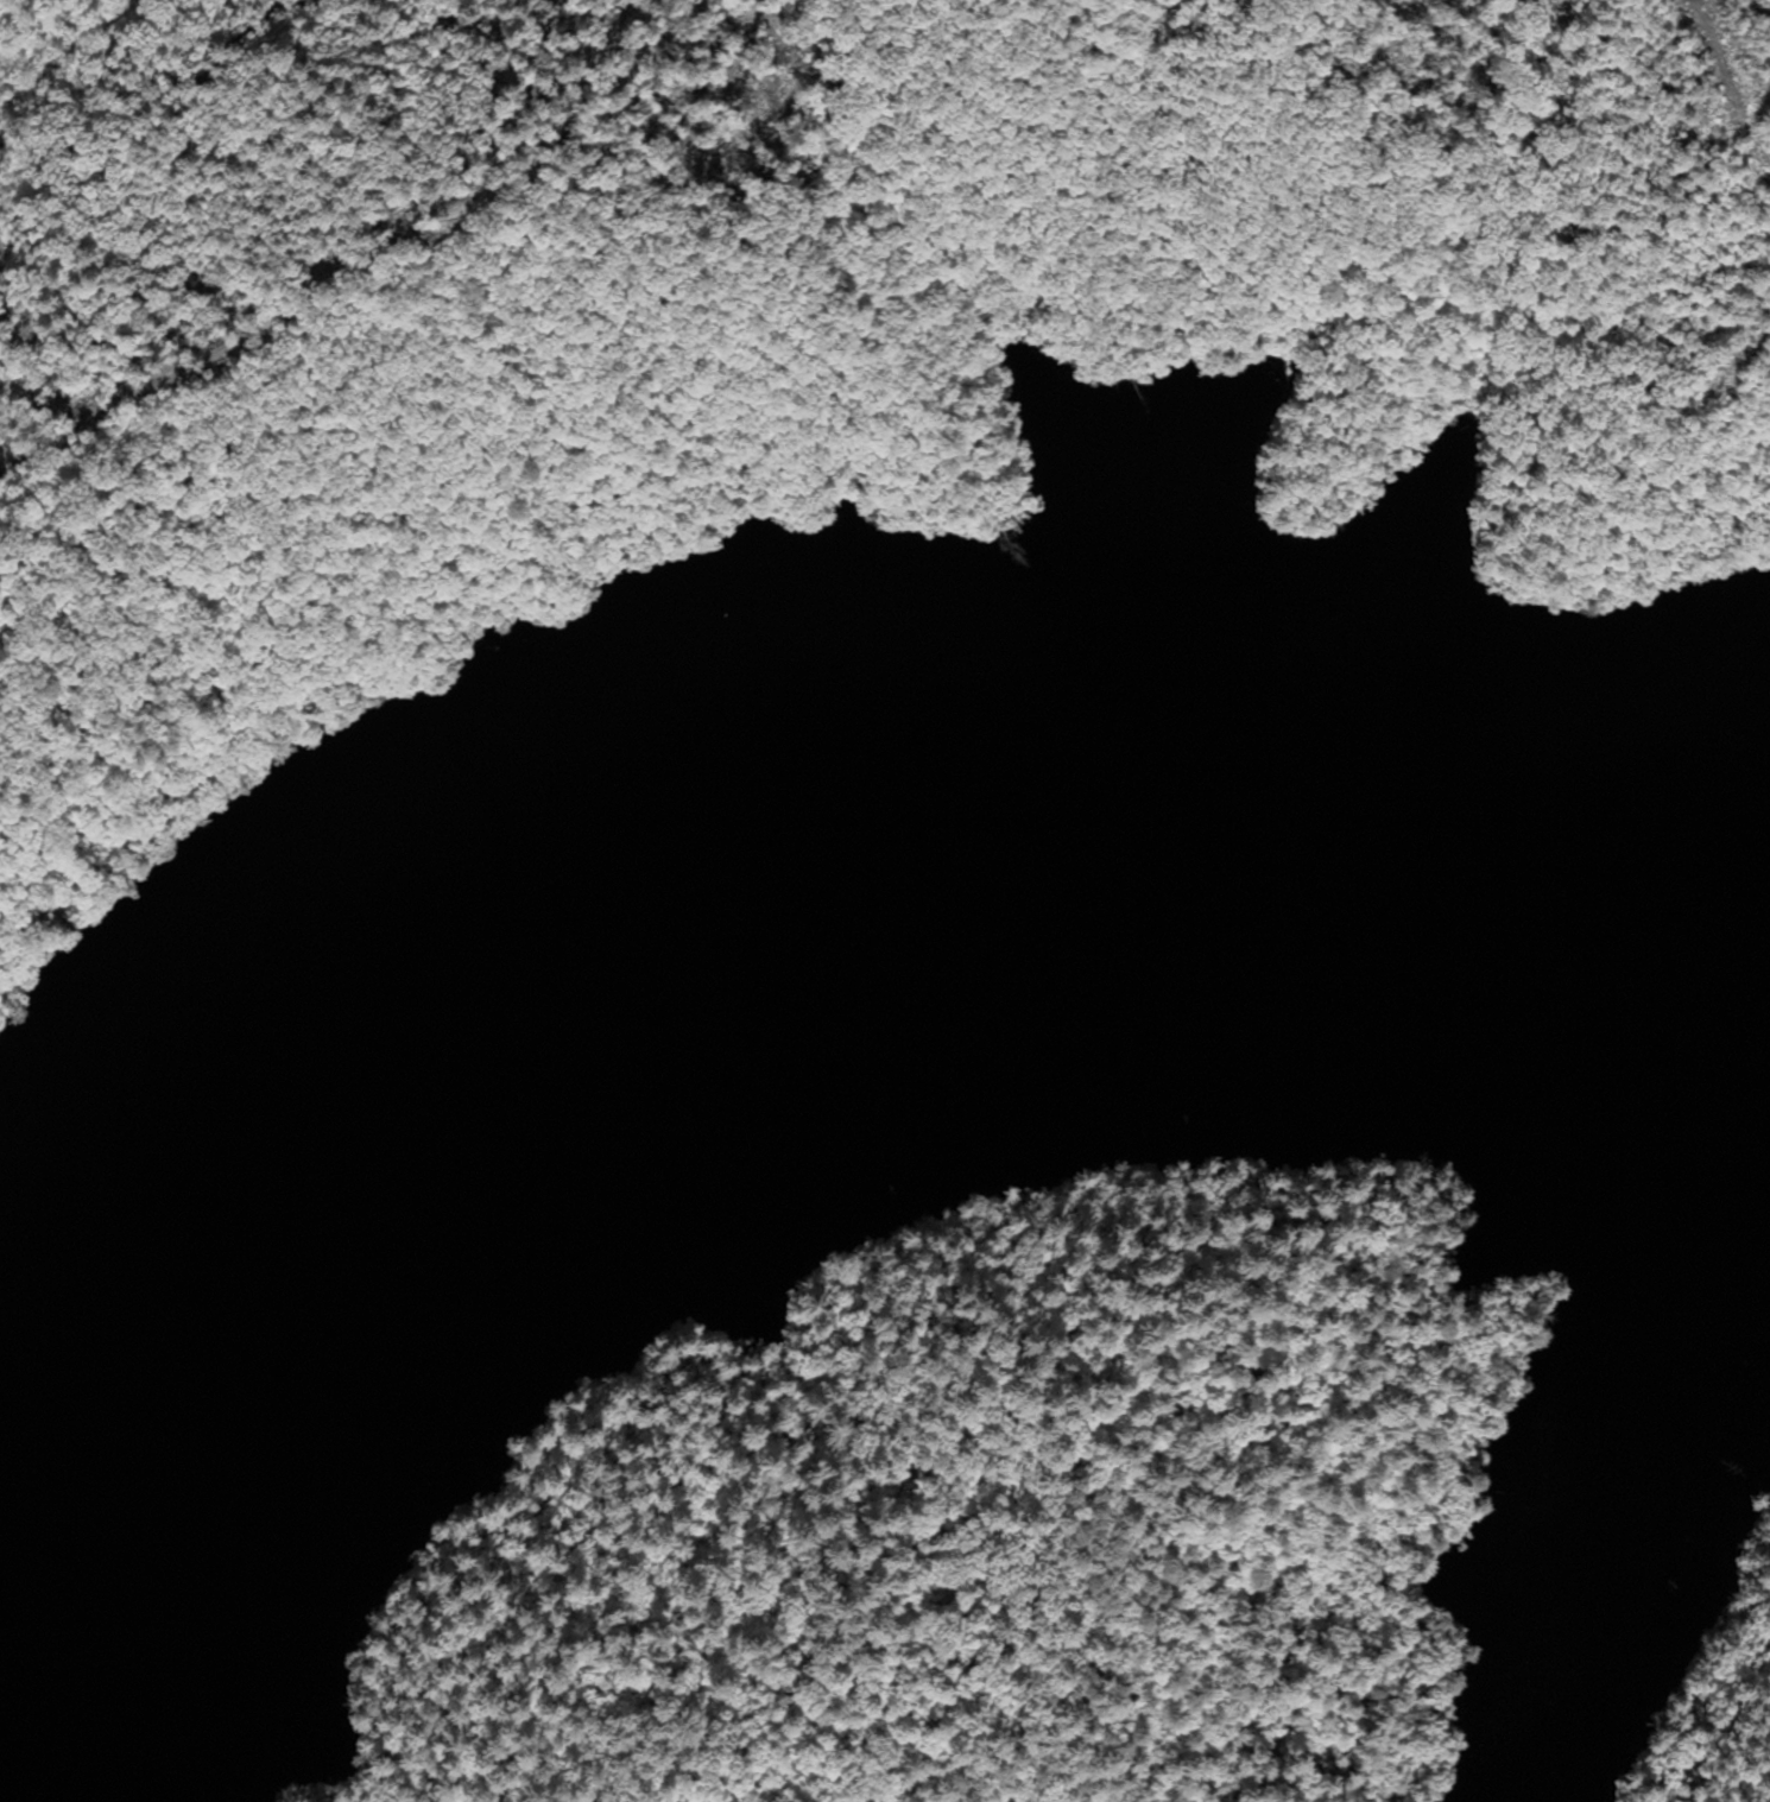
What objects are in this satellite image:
river: (754, 967)

